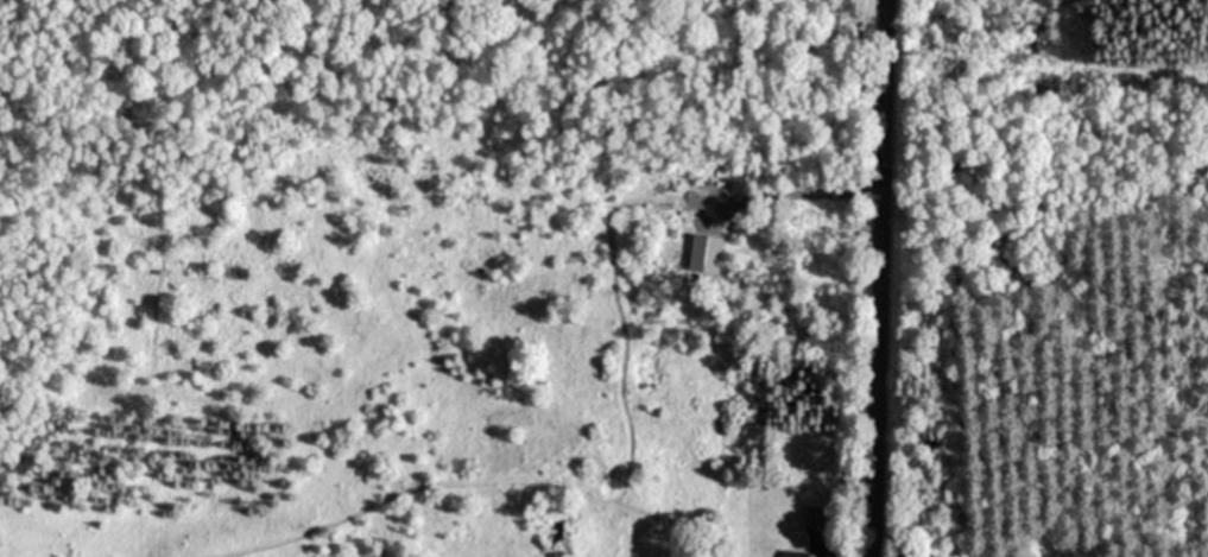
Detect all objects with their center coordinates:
road: (808, 191)
building: (704, 252)
road: (880, 278)
building: (816, 518)
building: (797, 553)

